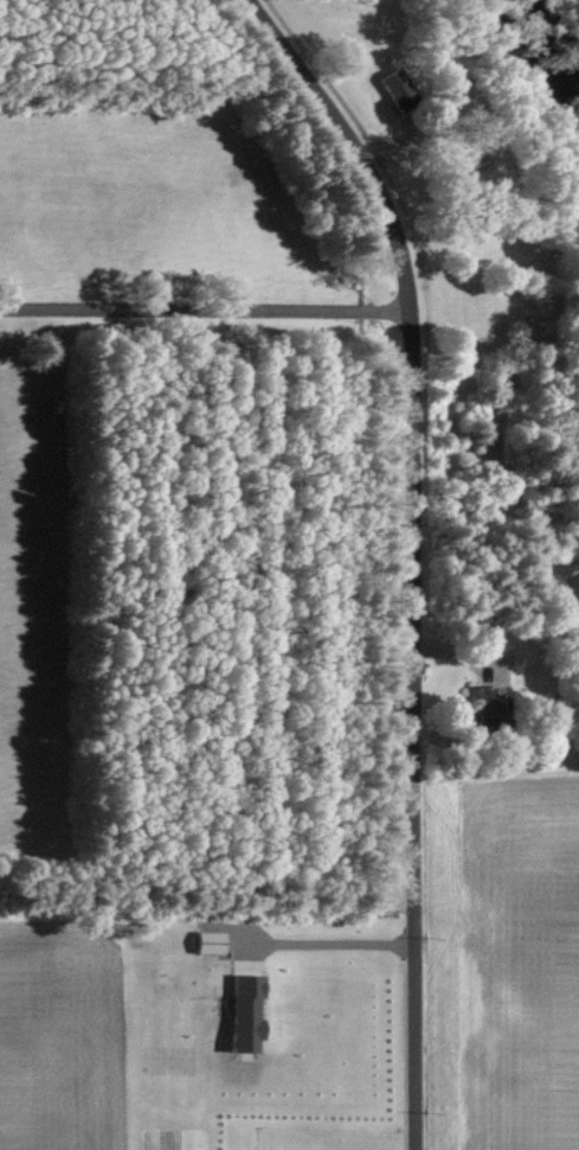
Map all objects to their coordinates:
river: (555, 45)
road: (205, 307)
road: (413, 551)
building: (488, 702)
building: (206, 944)
building: (242, 1014)

